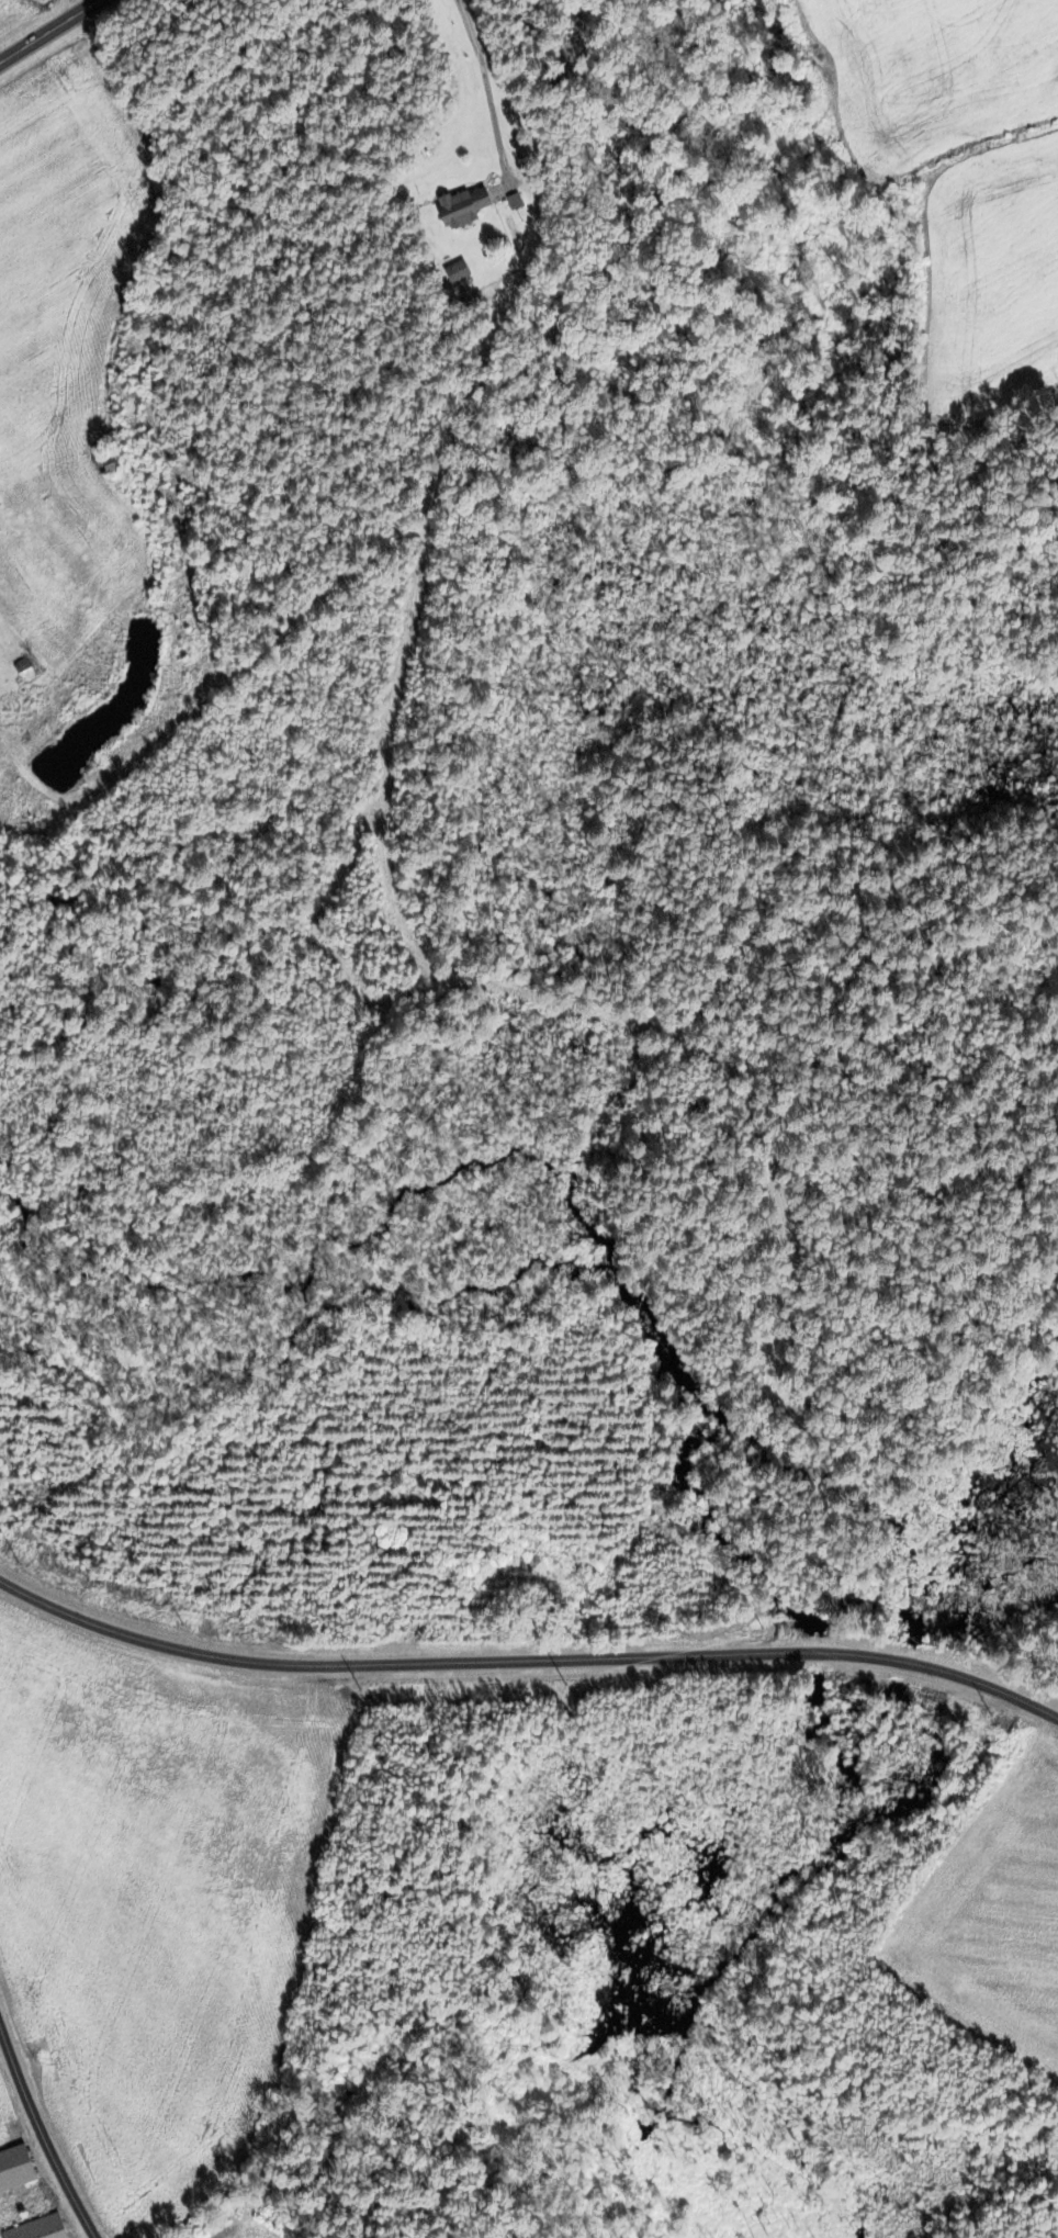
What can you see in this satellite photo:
road: (48, 30)
building: (465, 207)
building: (459, 273)
building: (101, 463)
building: (26, 671)
road: (527, 1662)
road: (42, 2138)
building: (18, 2171)
building: (41, 2229)

